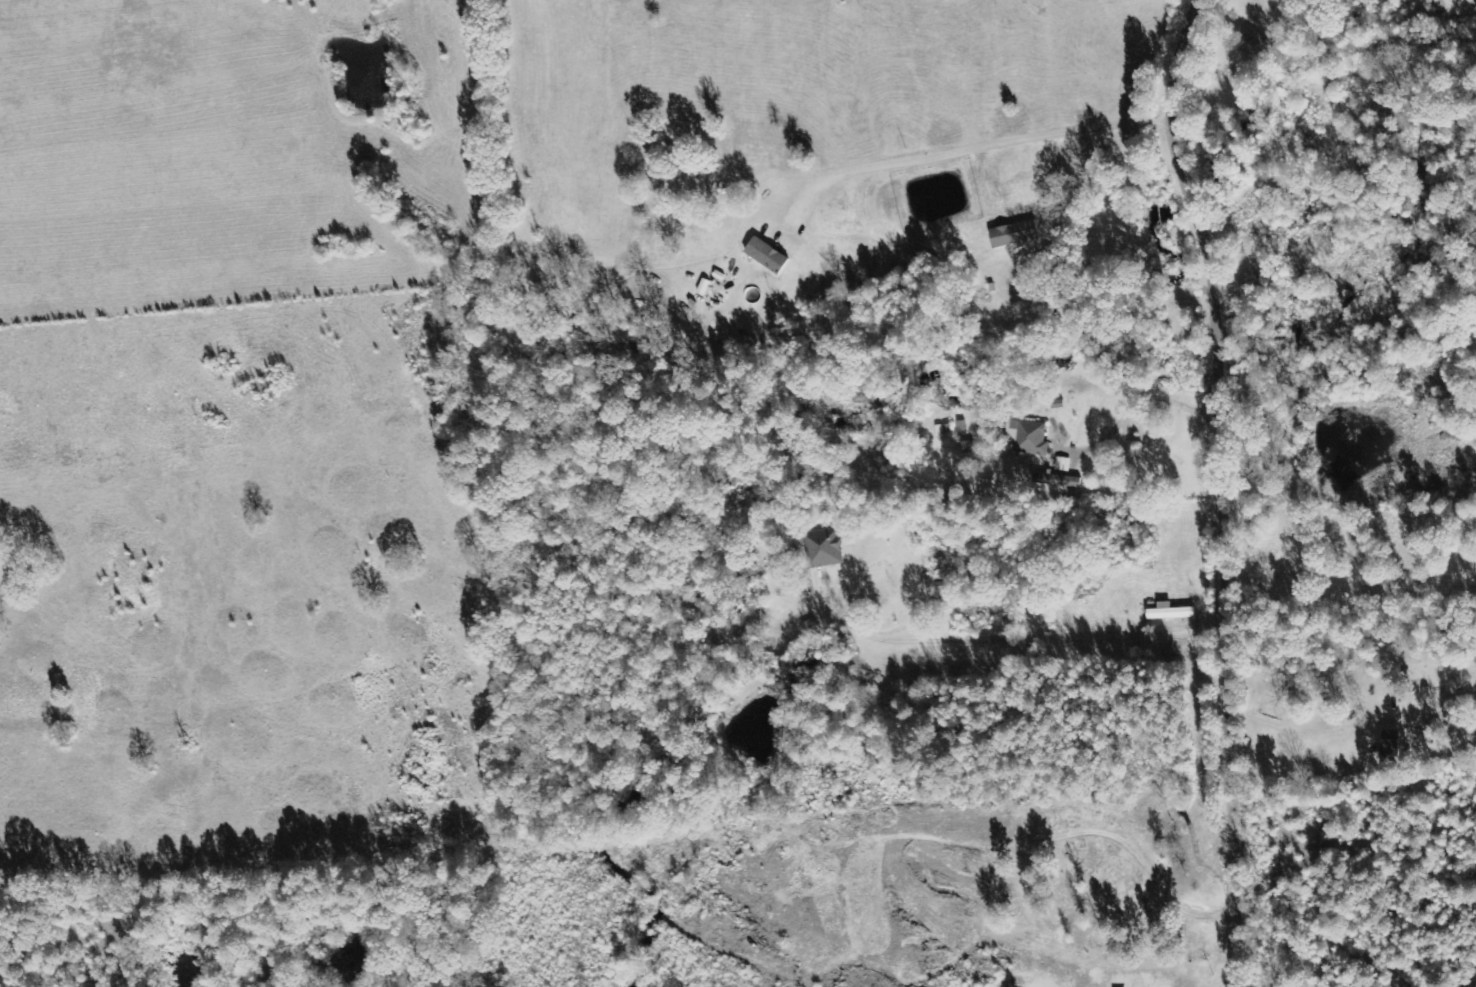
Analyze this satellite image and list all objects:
building: (1253, 43)
building: (1014, 234)
building: (766, 256)
building: (1026, 436)
building: (1056, 480)
road: (1226, 489)
building: (822, 548)
building: (1169, 612)

